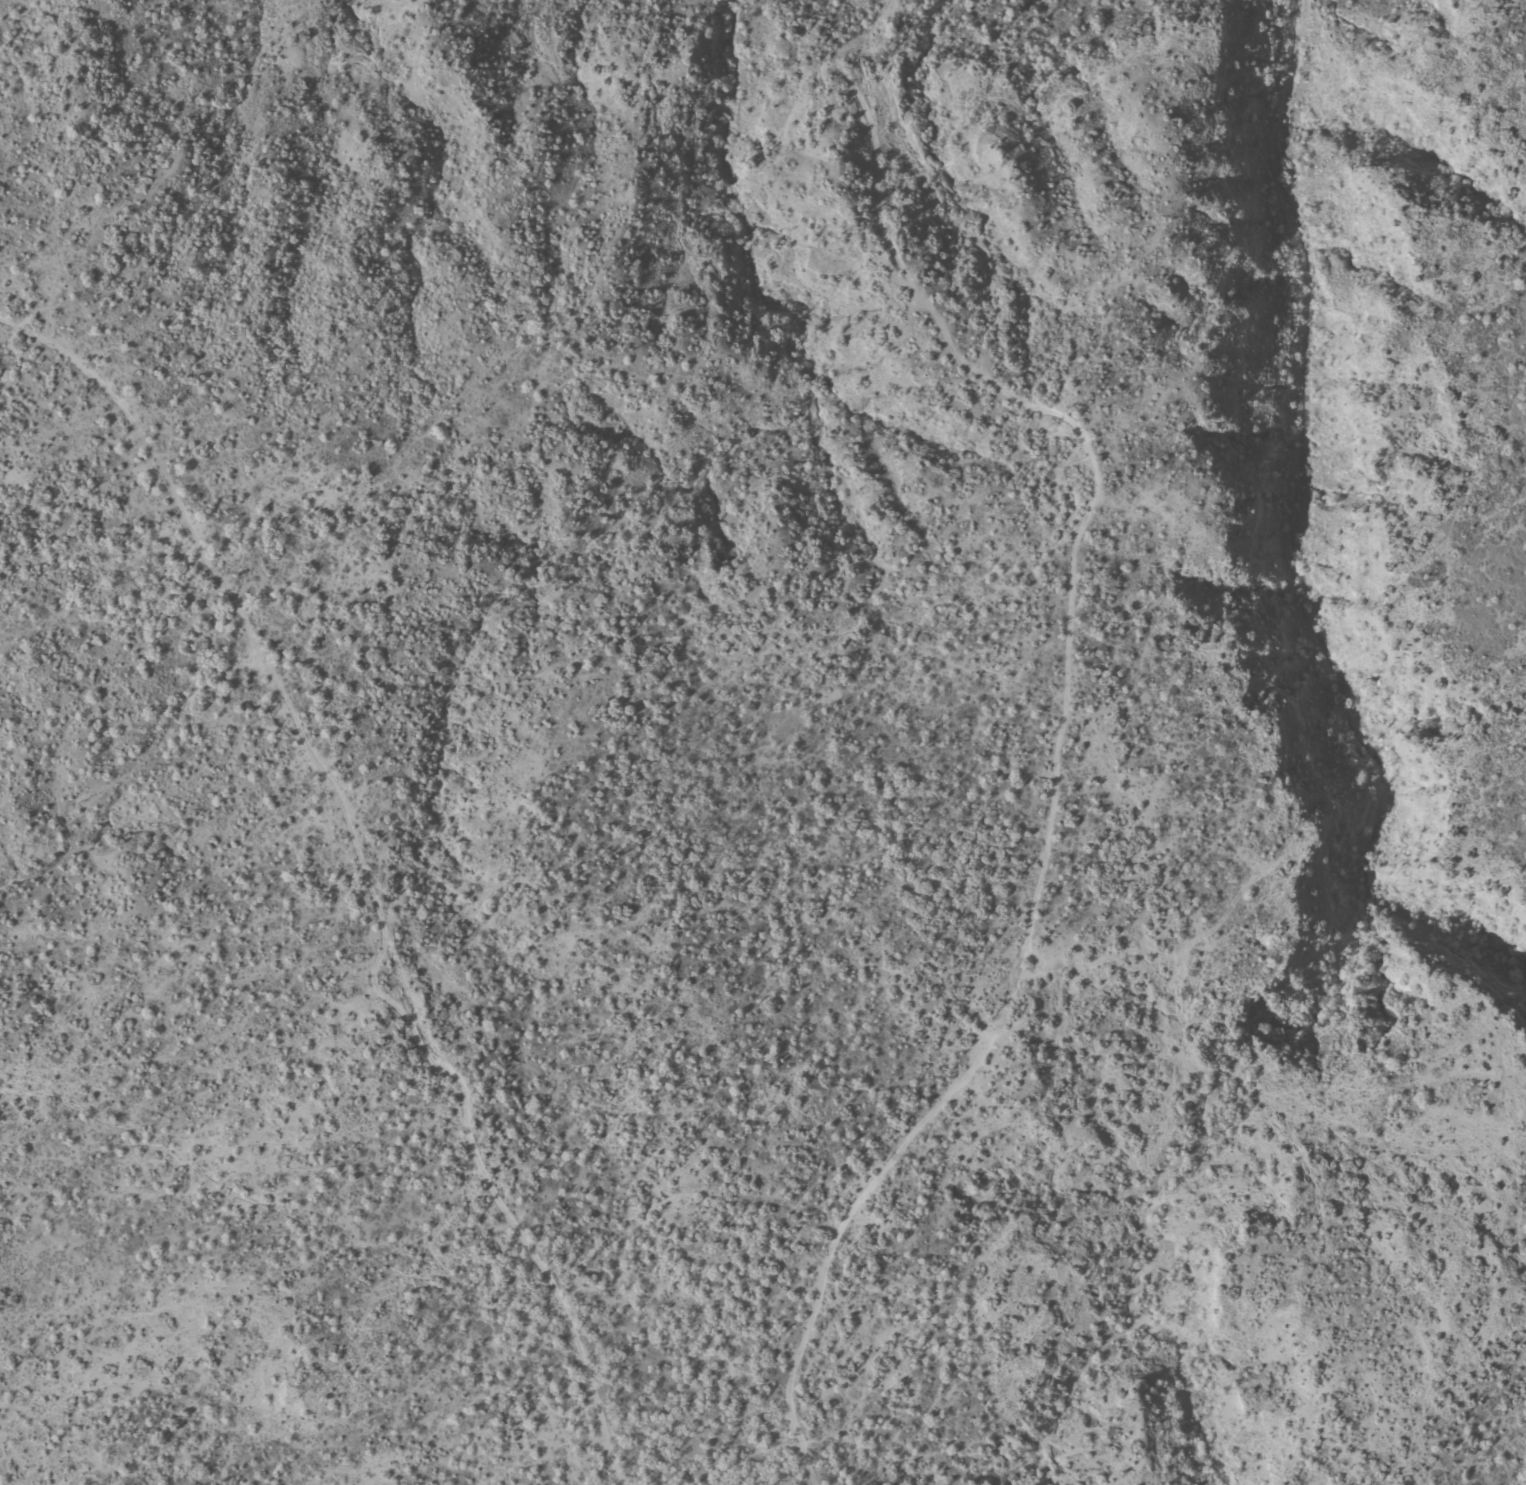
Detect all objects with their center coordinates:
road: (339, 878)

